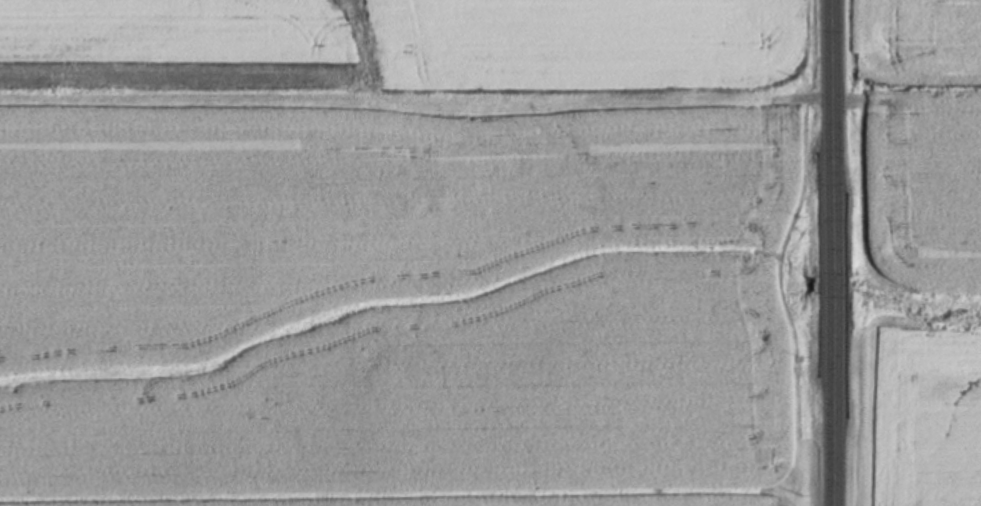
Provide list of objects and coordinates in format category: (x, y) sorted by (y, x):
road: (833, 100)
road: (835, 252)

